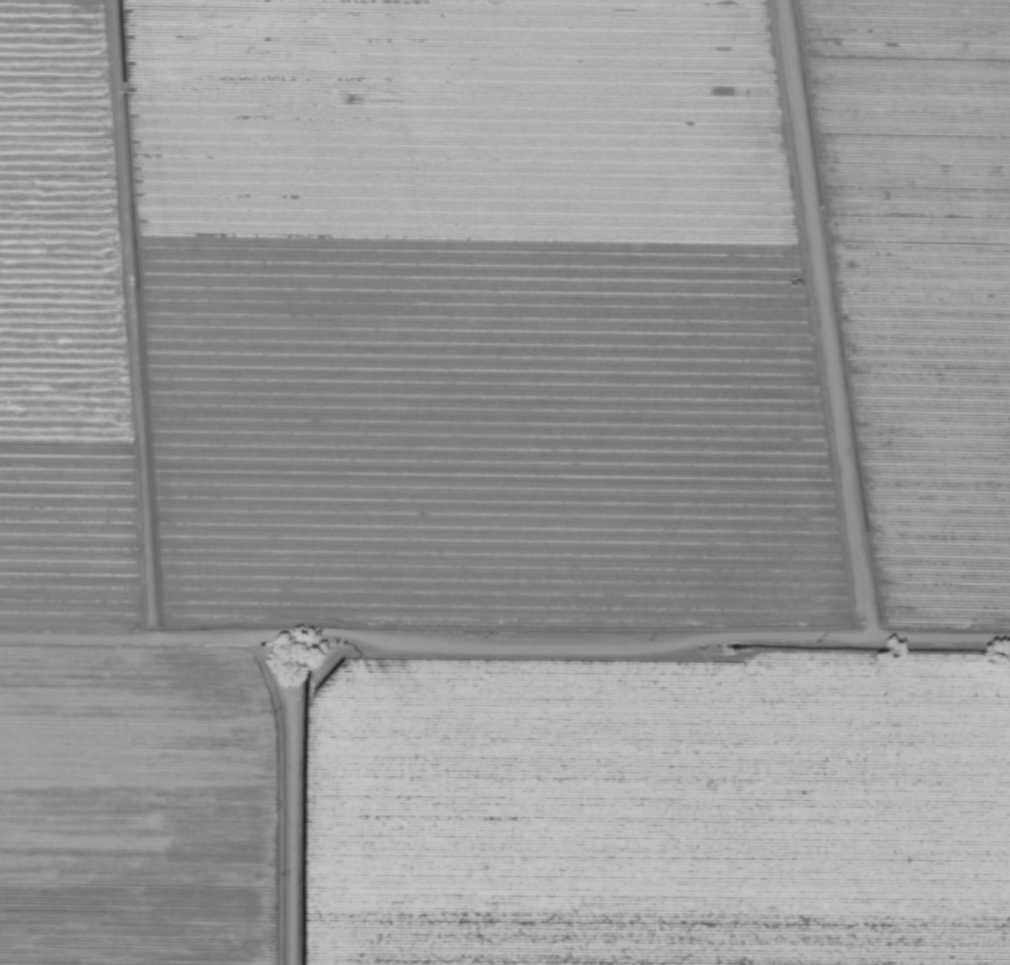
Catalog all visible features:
road: (504, 644)

